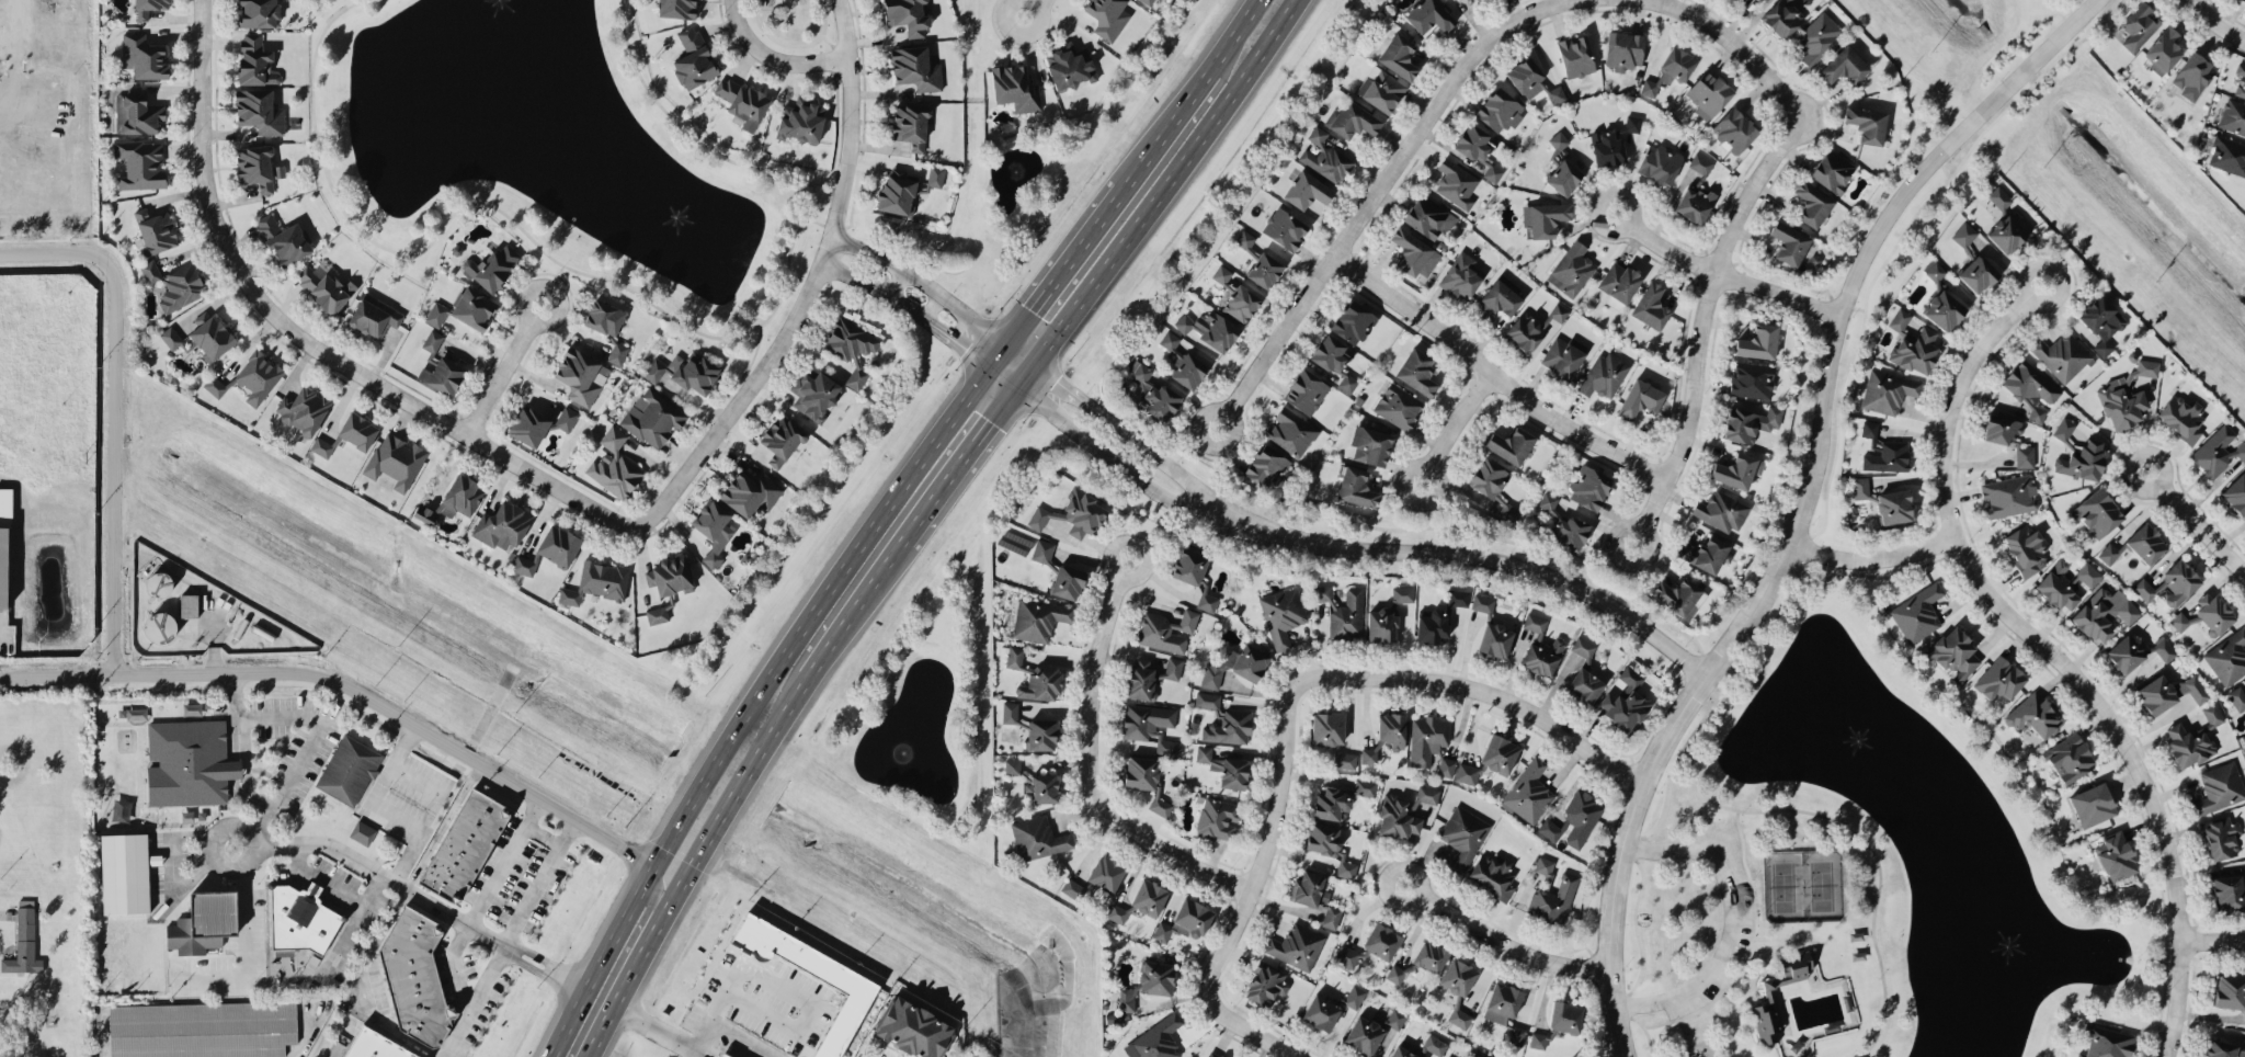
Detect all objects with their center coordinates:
building: (1477, 0)
building: (2244, 0)
building: (1148, 1)
building: (147, 8)
road: (1030, 8)
building: (676, 9)
building: (258, 13)
building: (908, 15)
building: (1107, 16)
building: (1428, 16)
building: (1781, 18)
road: (2218, 22)
building: (2139, 25)
road: (1232, 36)
building: (1817, 37)
road: (790, 46)
road: (1735, 47)
road: (832, 49)
building: (1625, 49)
building: (2163, 50)
building: (144, 56)
building: (1399, 56)
building: (1576, 56)
building: (693, 59)
road: (770, 59)
building: (255, 60)
building: (1677, 62)
building: (1069, 66)
building: (1844, 66)
building: (915, 68)
building: (2192, 75)
building: (1526, 77)
building: (2240, 80)
building: (1014, 87)
building: (1650, 87)
building: (1380, 89)
building: (1555, 93)
building: (1708, 93)
building: (742, 101)
building: (1500, 110)
building: (259, 111)
building: (2233, 116)
building: (1352, 120)
building: (801, 121)
building: (1632, 123)
building: (1866, 124)
building: (910, 125)
building: (1733, 129)
road: (1165, 130)
building: (1558, 140)
building: (1607, 148)
building: (1479, 149)
building: (2226, 155)
building: (1325, 156)
building: (1700, 162)
building: (140, 163)
building: (1661, 163)
building: (255, 167)
building: (1832, 170)
building: (935, 175)
building: (1565, 177)
building: (1456, 183)
road: (1166, 184)
building: (1307, 190)
building: (897, 192)
road: (1378, 192)
building: (1998, 197)
building: (1694, 203)
building: (1811, 203)
building: (1428, 217)
building: (1545, 218)
road: (817, 223)
building: (1284, 228)
building: (157, 234)
building: (1963, 234)
building: (2005, 234)
building: (1244, 238)
building: (282, 242)
building: (1789, 243)
road: (856, 248)
building: (1413, 253)
road: (1064, 266)
building: (492, 269)
building: (1571, 269)
building: (1264, 270)
building: (1934, 270)
building: (1221, 273)
road: (1722, 273)
building: (1976, 273)
road: (844, 274)
building: (1461, 274)
road: (808, 283)
road: (894, 284)
building: (1618, 284)
building: (175, 285)
road: (551, 285)
road: (627, 289)
building: (326, 291)
building: (1500, 297)
road: (946, 300)
building: (1241, 303)
road: (1845, 304)
building: (1650, 306)
building: (472, 310)
building: (1944, 310)
building: (1558, 311)
building: (434, 316)
building: (372, 318)
building: (604, 319)
building: (1353, 321)
road: (1701, 321)
building: (2101, 321)
building: (1184, 322)
road: (930, 326)
building: (1525, 331)
building: (1218, 332)
building: (210, 336)
building: (174, 339)
building: (1758, 341)
building: (1912, 344)
road: (306, 345)
traffic signals: (1006, 345)
building: (851, 346)
building: (617, 352)
building: (1331, 353)
road: (1019, 355)
building: (2061, 355)
road: (998, 356)
building: (1563, 356)
building: (1183, 362)
traffic signals: (1033, 365)
traffic signals: (989, 367)
road: (501, 370)
building: (1416, 372)
building: (440, 373)
building: (1605, 374)
building: (686, 375)
road: (1495, 375)
building: (578, 376)
road: (1023, 376)
building: (257, 377)
road: (1001, 377)
building: (1751, 379)
building: (1346, 382)
building: (214, 385)
traffic signals: (1014, 387)
building: (2030, 387)
building: (1887, 390)
building: (1306, 391)
building: (1153, 393)
building: (813, 395)
building: (2124, 396)
building: (1641, 399)
road: (692, 401)
building: (1398, 406)
building: (303, 410)
road: (111, 414)
building: (2181, 417)
building: (1748, 422)
building: (537, 425)
road: (1455, 425)
building: (1999, 428)
building: (2063, 428)
building: (357, 431)
building: (1869, 431)
building: (1290, 432)
road: (1127, 435)
building: (782, 440)
building: (653, 442)
building: (1511, 444)
building: (1370, 445)
building: (321, 446)
building: (2218, 451)
road: (676, 453)
building: (2024, 454)
building: (1887, 456)
road: (1110, 458)
building: (395, 461)
building: (2082, 461)
road: (648, 462)
road: (957, 465)
building: (1266, 466)
building: (1736, 469)
building: (1356, 487)
building: (1494, 487)
building: (1589, 487)
building: (1859, 487)
building: (750, 492)
building: (2235, 493)
building: (2008, 495)
building: (460, 498)
road: (647, 499)
building: (1547, 501)
building: (1893, 505)
building: (5, 507)
building: (1720, 510)
building: (1072, 513)
building: (2096, 513)
road: (2196, 521)
building: (501, 528)
building: (713, 530)
building: (1571, 533)
building: (2145, 543)
building: (559, 547)
building: (2026, 548)
building: (1042, 550)
building: (1703, 553)
building: (2108, 553)
road: (1474, 557)
road: (1874, 558)
road: (1800, 564)
building: (1189, 566)
building: (3, 567)
building: (523, 567)
building: (671, 578)
building: (602, 580)
building: (1067, 581)
building: (2065, 582)
building: (2170, 583)
building: (158, 584)
building: (1402, 593)
building: (1678, 595)
building: (1458, 596)
building: (1207, 601)
building: (1482, 603)
building: (187, 605)
road: (854, 611)
building: (658, 612)
building: (1344, 612)
building: (1917, 612)
building: (2104, 612)
building: (1283, 614)
building: (2206, 614)
building: (1038, 618)
building: (1382, 624)
building: (1433, 625)
building: (160, 627)
building: (1166, 629)
building: (1495, 639)
road: (214, 641)
building: (1540, 647)
building: (1583, 648)
road: (1760, 648)
building: (2163, 648)
building: (1953, 652)
road: (2053, 653)
building: (2124, 653)
building: (1014, 657)
building: (2227, 657)
building: (1235, 666)
road: (1723, 673)
building: (1150, 677)
building: (1998, 679)
building: (1040, 683)
building: (1584, 685)
road: (1483, 690)
road: (1710, 692)
building: (2169, 692)
road: (372, 695)
building: (2236, 697)
road: (752, 701)
building: (1625, 701)
building: (1010, 712)
building: (2212, 714)
building: (2035, 715)
building: (1223, 720)
building: (1151, 726)
building: (1327, 728)
building: (1393, 729)
building: (1041, 734)
building: (2244, 737)
building: (1427, 738)
building: (2187, 745)
building: (1500, 753)
building: (2069, 758)
building: (1346, 760)
building: (187, 762)
building: (1012, 765)
building: (1446, 766)
road: (243, 768)
building: (1224, 768)
road: (1090, 770)
building: (349, 771)
building: (1466, 773)
road: (420, 774)
building: (1146, 778)
building: (1045, 787)
building: (1365, 787)
building: (2219, 787)
building: (1528, 792)
road: (732, 795)
building: (1425, 795)
building: (1332, 804)
building: (2093, 804)
road: (384, 806)
building: (1581, 817)
building: (1217, 818)
building: (1397, 818)
road: (244, 823)
building: (1549, 829)
road: (259, 831)
building: (363, 832)
road: (545, 833)
building: (1463, 836)
building: (1038, 838)
building: (2221, 838)
road: (1864, 840)
road: (310, 842)
building: (464, 845)
building: (1329, 845)
road: (1264, 856)
road: (1620, 856)
building: (2116, 856)
road: (503, 860)
building: (124, 873)
building: (1106, 873)
road: (167, 875)
building: (1493, 875)
road: (542, 880)
building: (1568, 883)
road: (334, 886)
building: (1072, 888)
building: (2229, 891)
building: (1315, 896)
building: (1149, 897)
building: (1117, 912)
building: (300, 919)
building: (204, 921)
building: (1185, 921)
road: (1731, 925)
road: (1636, 930)
road: (342, 937)
road: (1773, 939)
road: (1498, 940)
building: (23, 941)
building: (1381, 941)
road: (2214, 941)
road: (1785, 944)
building: (1296, 945)
road: (243, 947)
road: (1748, 950)
building: (1346, 955)
building: (1429, 956)
road: (454, 964)
building: (1395, 974)
road: (488, 975)
building: (415, 976)
building: (1156, 977)
road: (1760, 984)
road: (622, 985)
building: (1265, 985)
building: (855, 986)
building: (1458, 988)
building: (2230, 991)
building: (1768, 993)
road: (799, 995)
building: (1354, 996)
building: (1128, 999)
building: (1502, 1003)
road: (369, 1012)
building: (1321, 1012)
building: (1564, 1016)
building: (1394, 1018)
road: (1639, 1026)
building: (202, 1028)
building: (912, 1028)
building: (1515, 1034)
building: (1364, 1035)
road: (1254, 1036)
road: (303, 1037)
road: (691, 1037)
road: (1685, 1038)
building: (1156, 1039)
building: (1538, 1039)
building: (2105, 1042)
building: (375, 1045)
building: (1435, 1045)
building: (2223, 1049)
road: (683, 1052)
building: (1402, 1053)
building: (1212, 1054)
building: (722, 1055)
building: (1475, 1055)

